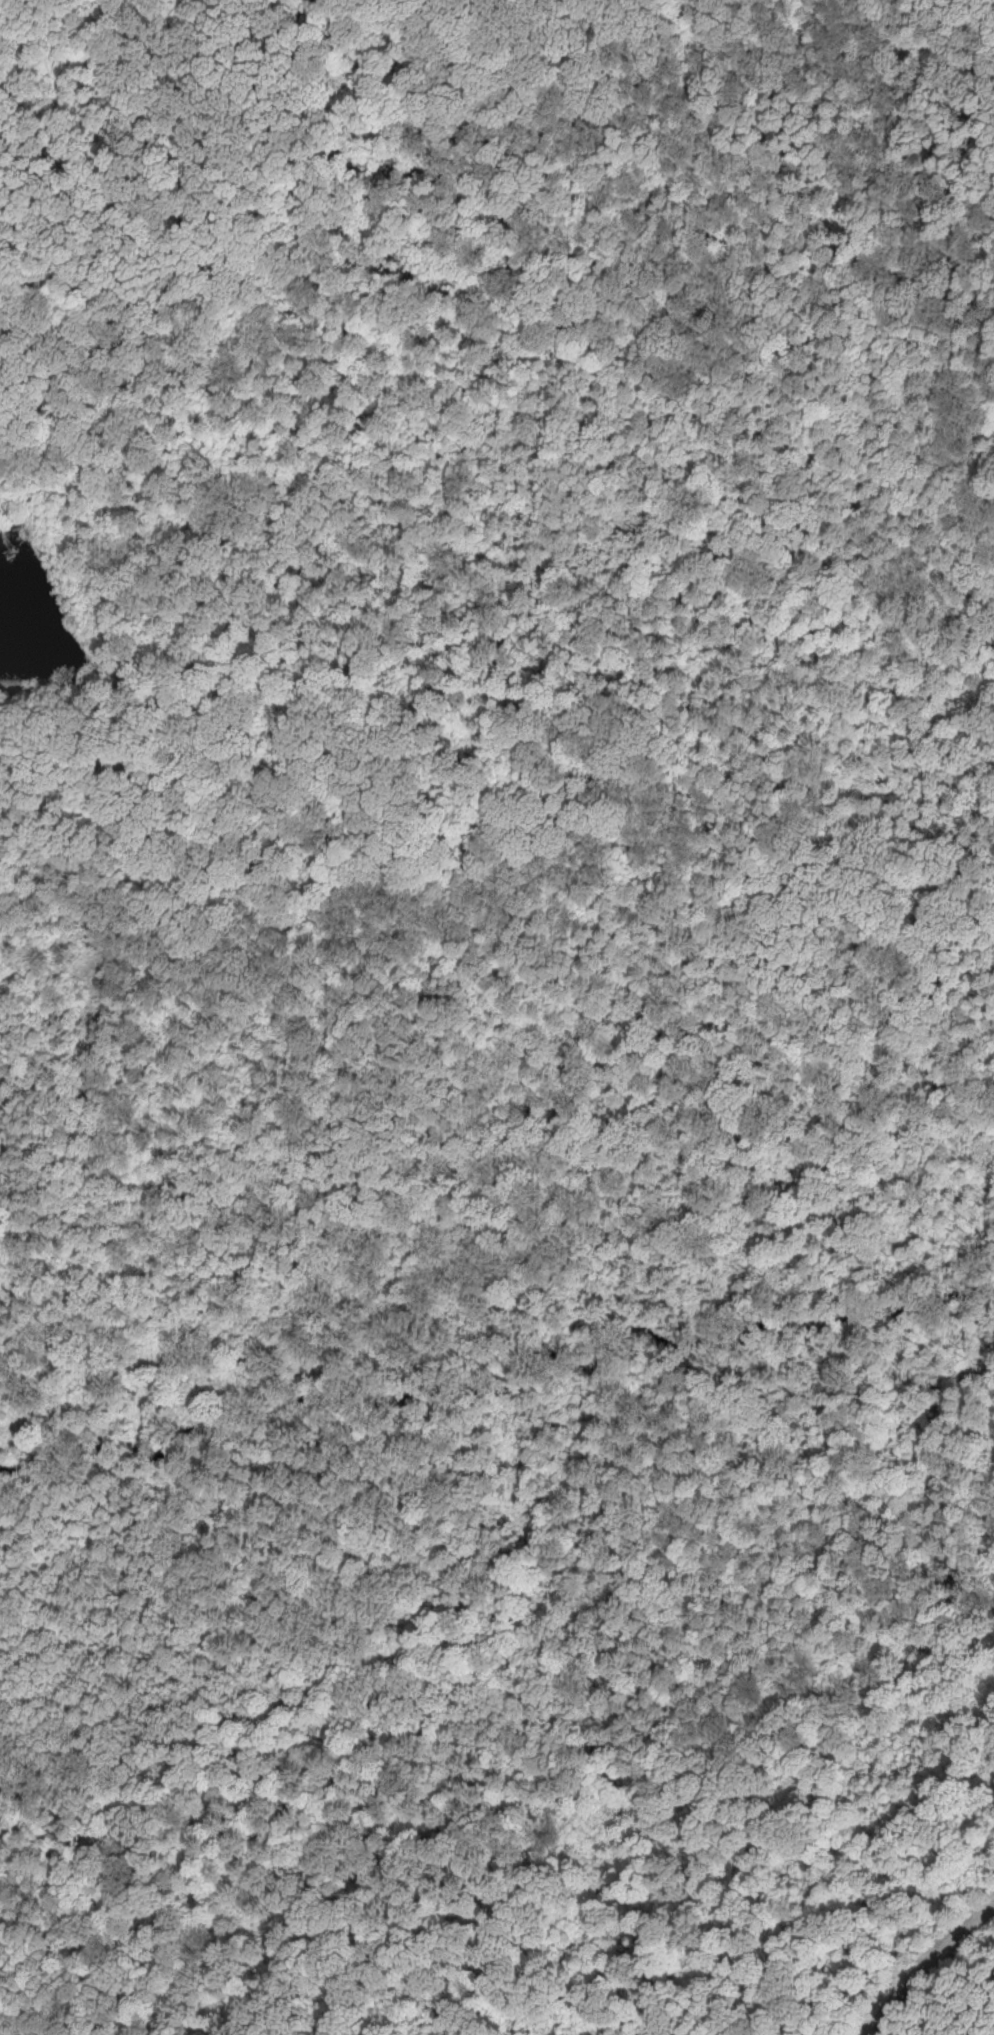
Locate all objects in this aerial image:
road: (930, 1969)

